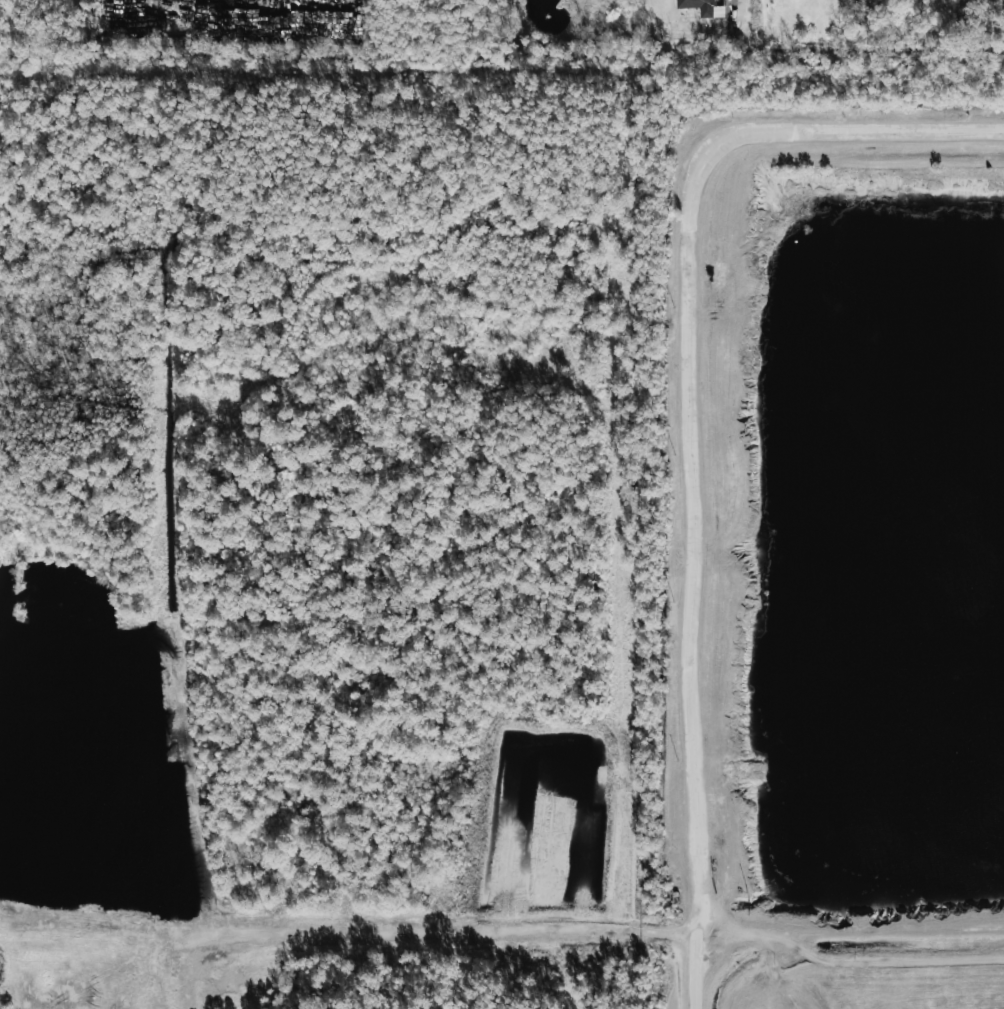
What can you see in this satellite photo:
building: (699, 6)
road: (747, 23)
road: (688, 424)
landfill: (835, 555)
road: (347, 929)

